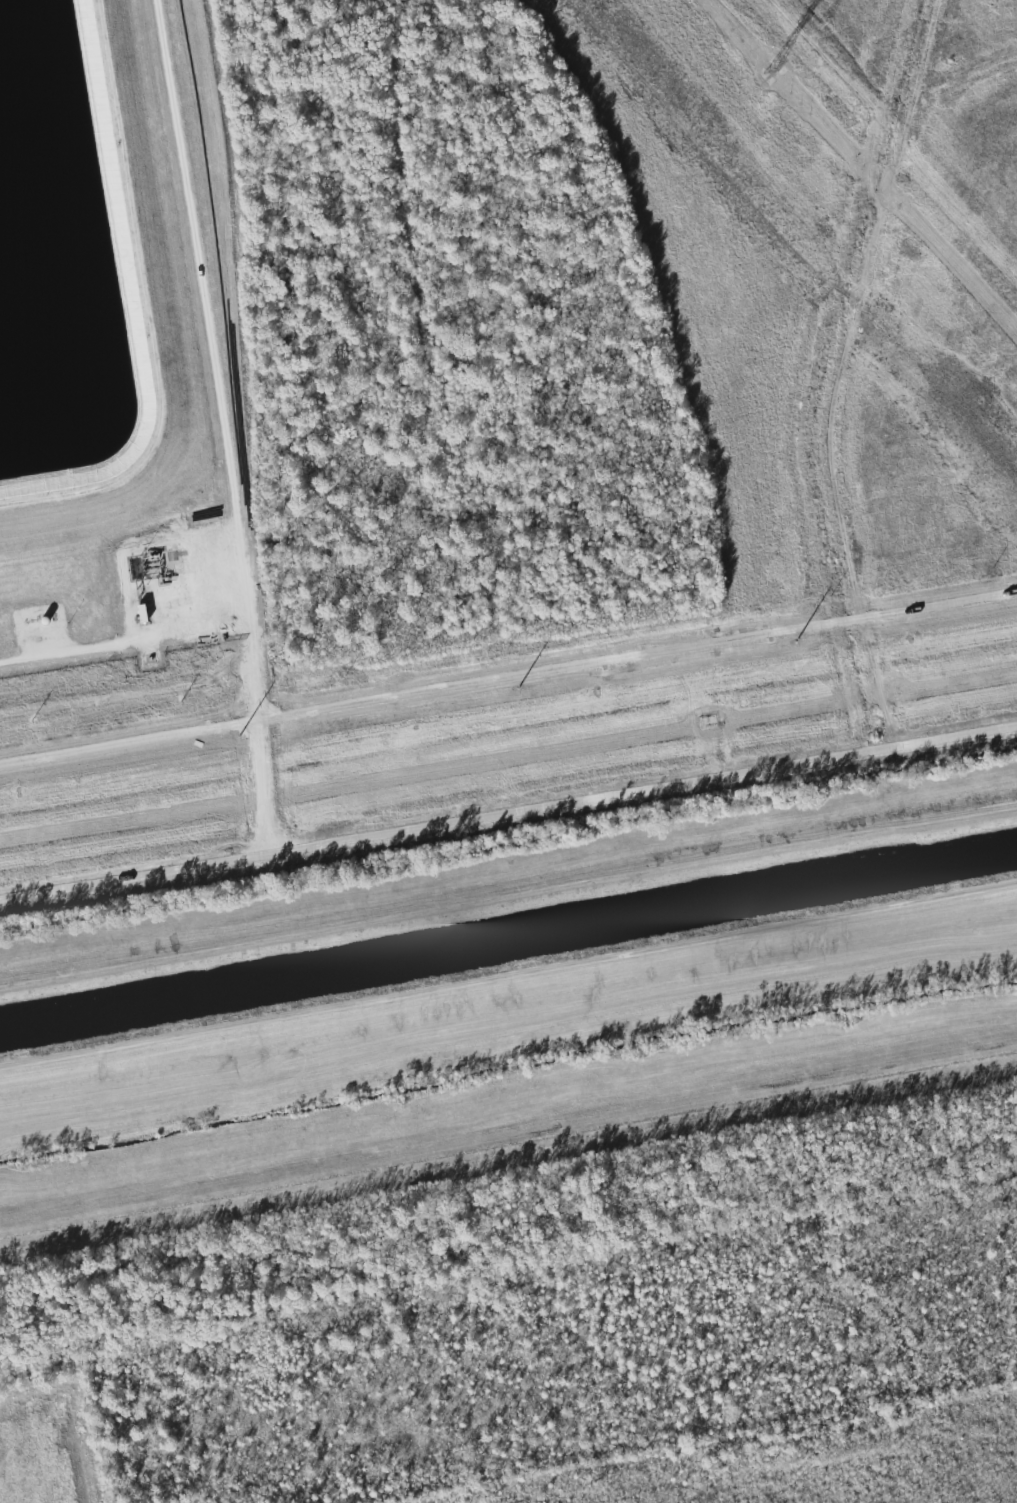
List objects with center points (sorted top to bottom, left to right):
power tower: (819, 26)
power tower: (769, 75)

